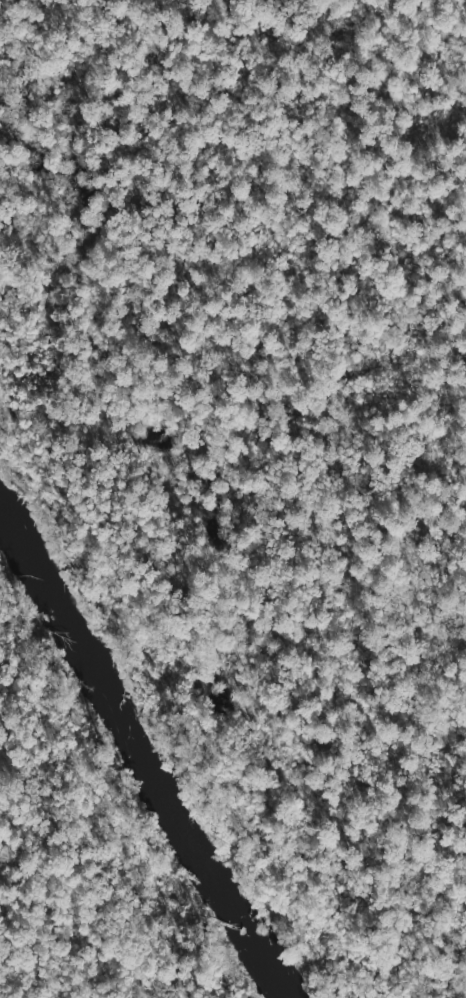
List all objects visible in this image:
river: (142, 765)

